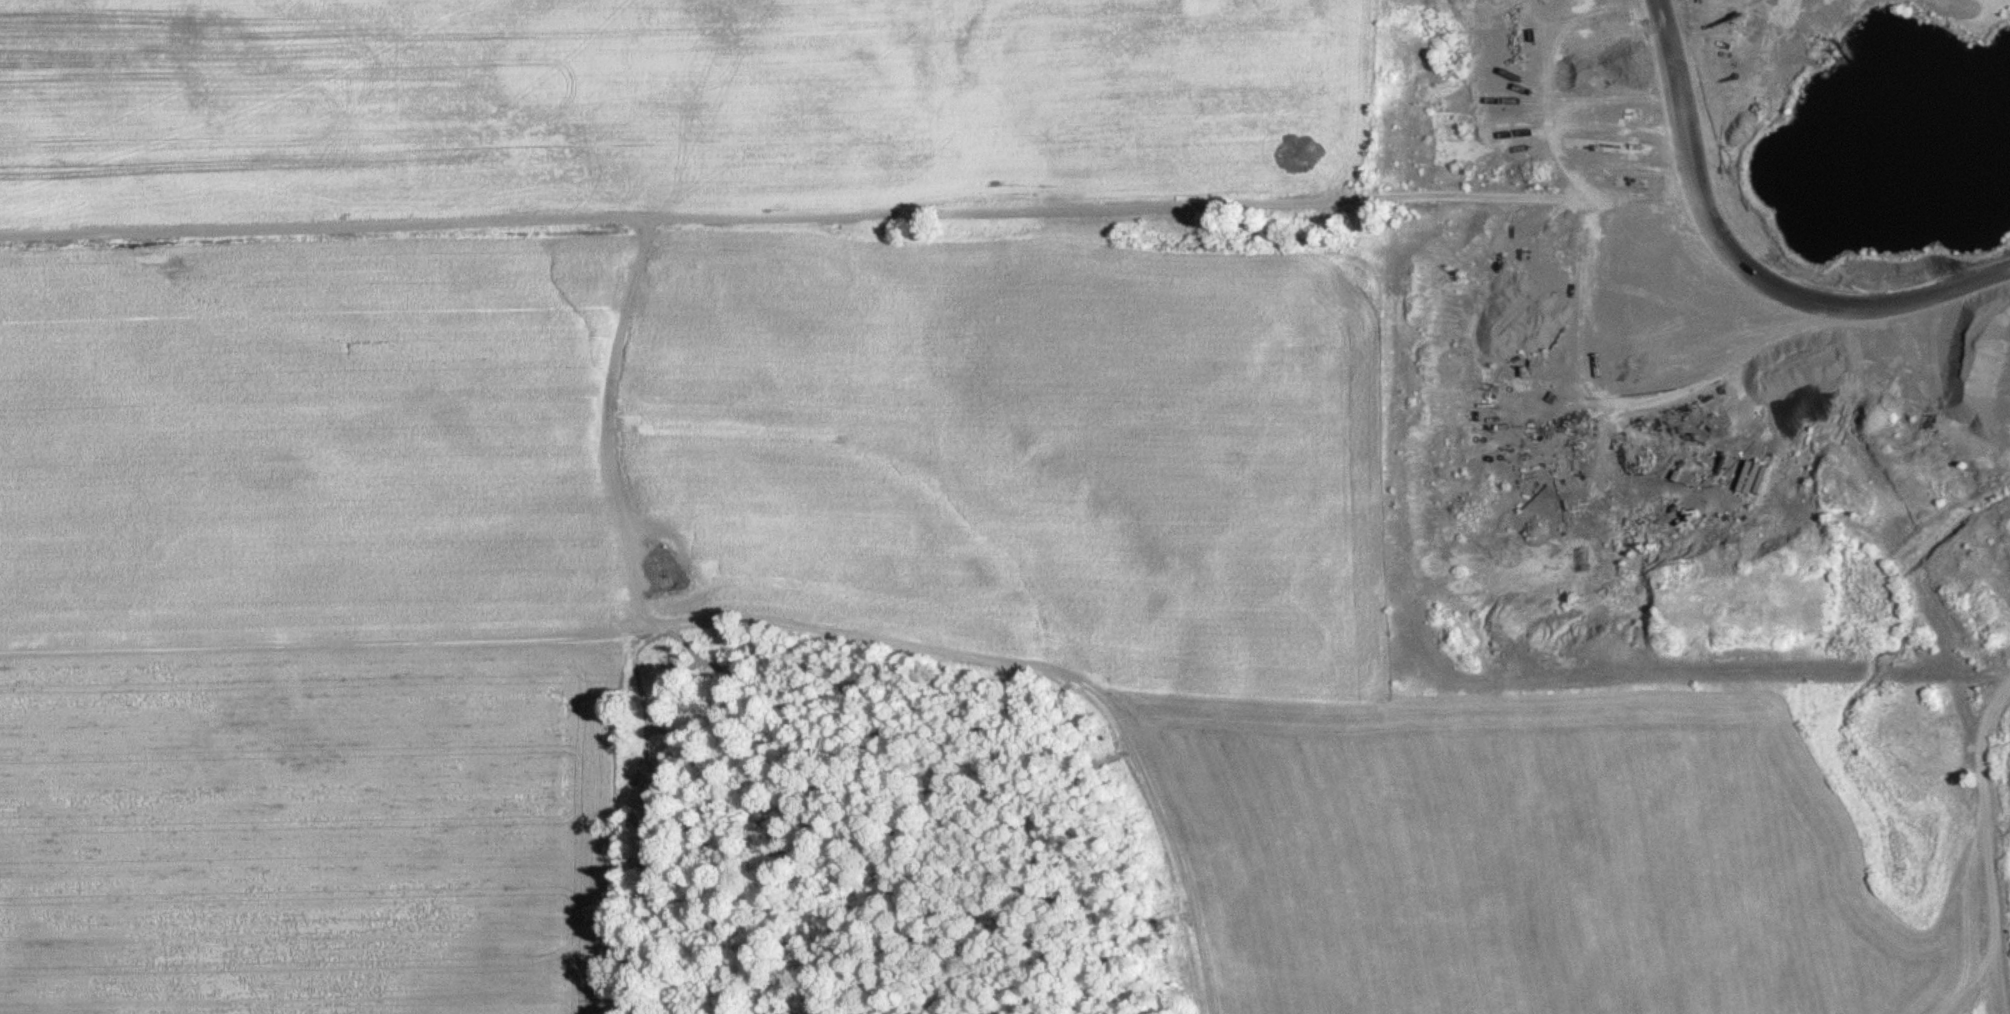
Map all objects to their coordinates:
quarry: (1698, 336)
building: (1565, 560)

